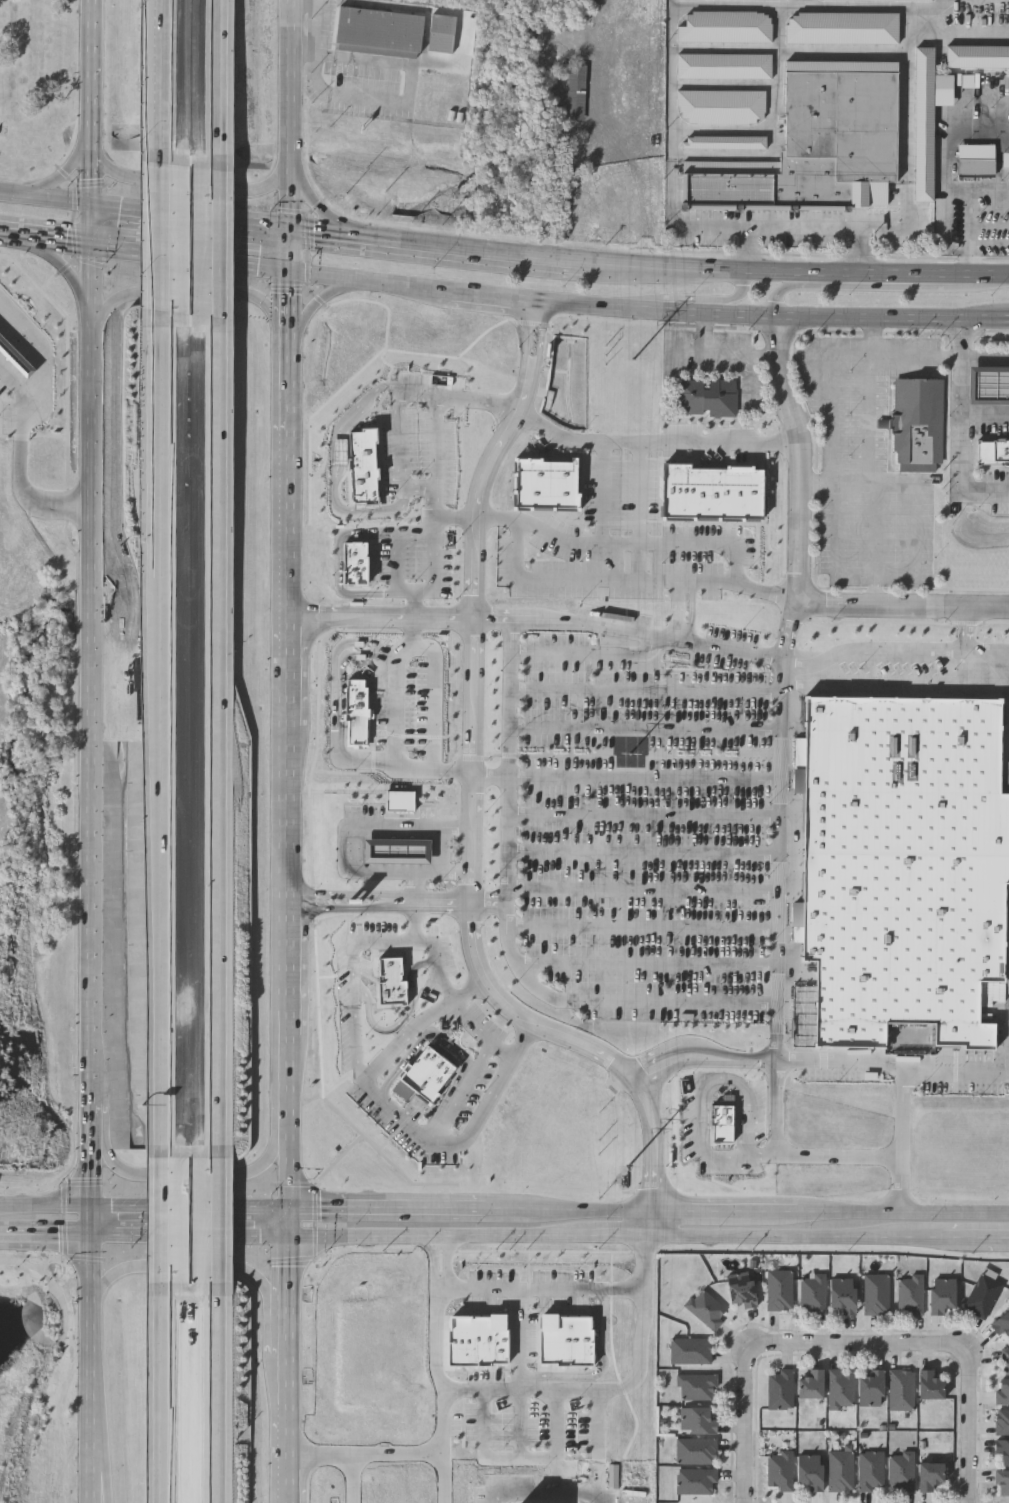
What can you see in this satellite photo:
building: (867, 0)
building: (725, 26)
building: (842, 26)
road: (320, 31)
building: (380, 31)
building: (442, 33)
building: (977, 55)
building: (723, 65)
road: (160, 82)
road: (218, 84)
building: (577, 90)
road: (413, 100)
road: (90, 101)
building: (721, 106)
road: (291, 113)
building: (924, 122)
building: (724, 141)
building: (820, 143)
building: (976, 160)
building: (1005, 160)
road: (55, 179)
road: (192, 183)
road: (951, 187)
road: (990, 188)
road: (45, 199)
traffic signals: (91, 204)
road: (911, 208)
road: (138, 210)
road: (333, 212)
road: (237, 222)
road: (90, 225)
traffic signals: (290, 228)
road: (157, 238)
road: (44, 242)
road: (216, 244)
traffic signals: (89, 247)
road: (289, 249)
road: (139, 252)
road: (859, 252)
road: (239, 264)
road: (56, 265)
road: (648, 269)
traffic signals: (289, 270)
road: (871, 286)
road: (189, 293)
road: (322, 296)
road: (688, 301)
road: (648, 310)
road: (872, 338)
road: (987, 345)
road: (688, 351)
road: (726, 353)
building: (15, 356)
road: (41, 359)
power tower: (633, 361)
road: (831, 367)
road: (756, 379)
building: (989, 385)
gas station: (989, 385)
building: (709, 397)
road: (987, 404)
road: (439, 417)
road: (870, 420)
road: (965, 421)
building: (919, 423)
road: (405, 434)
road: (654, 443)
building: (994, 452)
road: (494, 457)
building: (361, 466)
road: (18, 468)
road: (339, 472)
building: (547, 485)
road: (604, 493)
building: (714, 493)
road: (638, 511)
road: (916, 511)
road: (417, 528)
road: (876, 530)
road: (643, 543)
road: (434, 556)
road: (838, 557)
road: (399, 560)
road: (800, 562)
building: (356, 563)
road: (338, 564)
road: (550, 578)
road: (712, 582)
road: (406, 590)
road: (380, 618)
road: (553, 622)
road: (793, 629)
road: (963, 634)
road: (92, 649)
road: (590, 654)
road: (900, 662)
road: (651, 690)
road: (435, 703)
road: (339, 710)
road: (395, 710)
building: (357, 713)
road: (651, 724)
road: (160, 735)
road: (219, 738)
power tower: (632, 755)
road: (512, 761)
road: (630, 777)
building: (401, 801)
road: (648, 813)
road: (444, 832)
road: (352, 833)
building: (405, 837)
gas station: (405, 837)
road: (646, 850)
building: (398, 851)
building: (901, 863)
road: (430, 870)
road: (284, 886)
road: (644, 888)
road: (378, 900)
road: (645, 925)
road: (358, 958)
road: (651, 963)
building: (393, 982)
road: (593, 1000)
road: (483, 1034)
road: (892, 1063)
building: (426, 1075)
road: (92, 1076)
road: (462, 1091)
road: (402, 1118)
building: (725, 1120)
road: (902, 1139)
road: (92, 1152)
road: (792, 1152)
road: (191, 1176)
power tower: (625, 1179)
road: (46, 1205)
traffic signals: (92, 1205)
road: (192, 1207)
traffic signals: (292, 1209)
road: (390, 1209)
road: (571, 1210)
road: (703, 1212)
road: (776, 1213)
road: (903, 1214)
road: (156, 1221)
road: (215, 1221)
road: (652, 1223)
road: (46, 1232)
traffic signals: (93, 1233)
road: (192, 1233)
traffic signals: (291, 1233)
road: (622, 1235)
road: (972, 1238)
road: (999, 1239)
road: (195, 1267)
road: (570, 1287)
building: (740, 1287)
building: (778, 1289)
building: (812, 1293)
building: (841, 1293)
building: (876, 1293)
building: (909, 1293)
building: (983, 1293)
building: (940, 1294)
building: (705, 1308)
building: (1001, 1324)
road: (523, 1339)
building: (478, 1340)
building: (567, 1340)
road: (858, 1341)
building: (689, 1351)
road: (94, 1353)
building: (1005, 1359)
building: (811, 1383)
building: (929, 1385)
building: (696, 1386)
building: (840, 1388)
building: (871, 1388)
building: (779, 1389)
building: (900, 1390)
road: (588, 1391)
building: (1002, 1392)
road: (217, 1393)
road: (158, 1394)
building: (696, 1420)
building: (1002, 1421)
road: (442, 1424)
road: (970, 1425)
road: (747, 1426)
road: (553, 1447)
road: (594, 1447)
building: (696, 1451)
building: (1002, 1451)
road: (101, 1465)
building: (780, 1470)
building: (810, 1470)
building: (900, 1470)
building: (840, 1471)
building: (870, 1471)
building: (929, 1475)
road: (442, 1482)
building: (696, 1482)
road: (348, 1483)
building: (1002, 1483)
road: (577, 1501)
road: (523, 1502)

